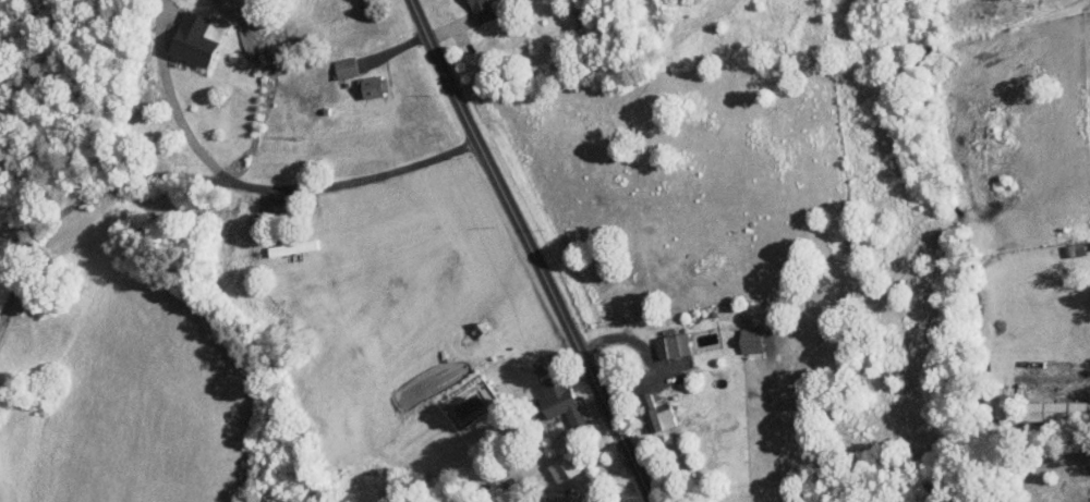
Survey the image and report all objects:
building: (485, 10)
building: (201, 38)
building: (347, 66)
building: (373, 86)
road: (173, 102)
road: (1006, 152)
road: (196, 175)
building: (292, 247)
road: (530, 250)
building: (753, 340)
building: (673, 346)
building: (560, 404)
building: (1055, 411)
building: (661, 419)
building: (1088, 455)
building: (566, 469)

